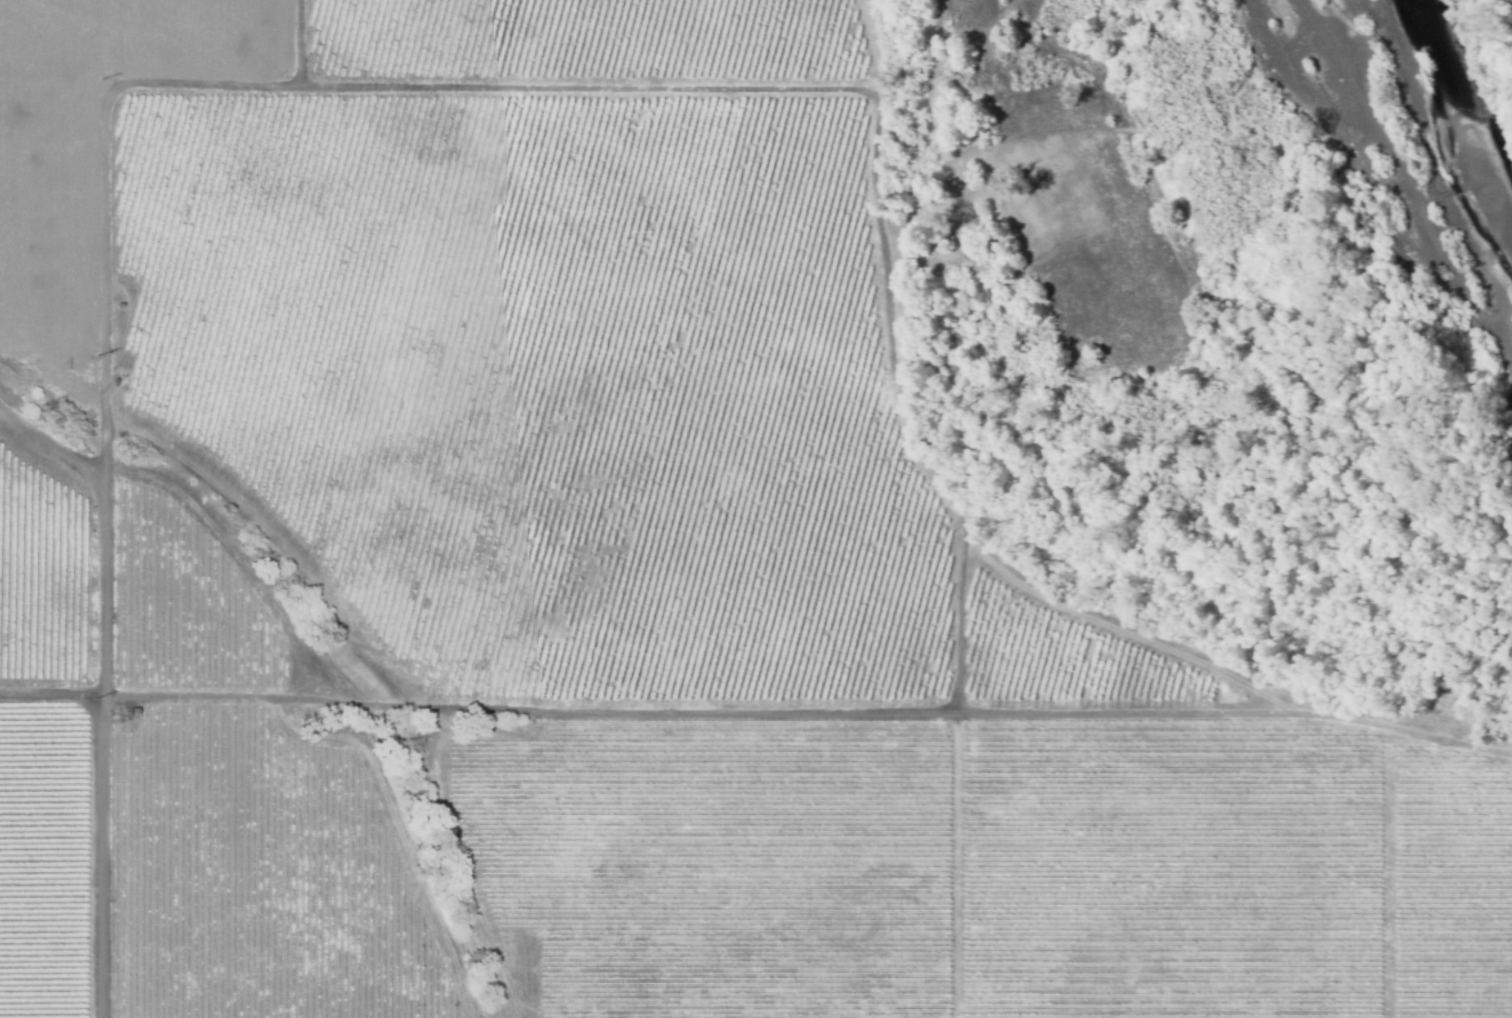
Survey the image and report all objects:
road: (1355, 86)
road: (883, 150)
river: (1465, 173)
road: (55, 443)
road: (1239, 710)
building: (131, 711)
road: (105, 854)

